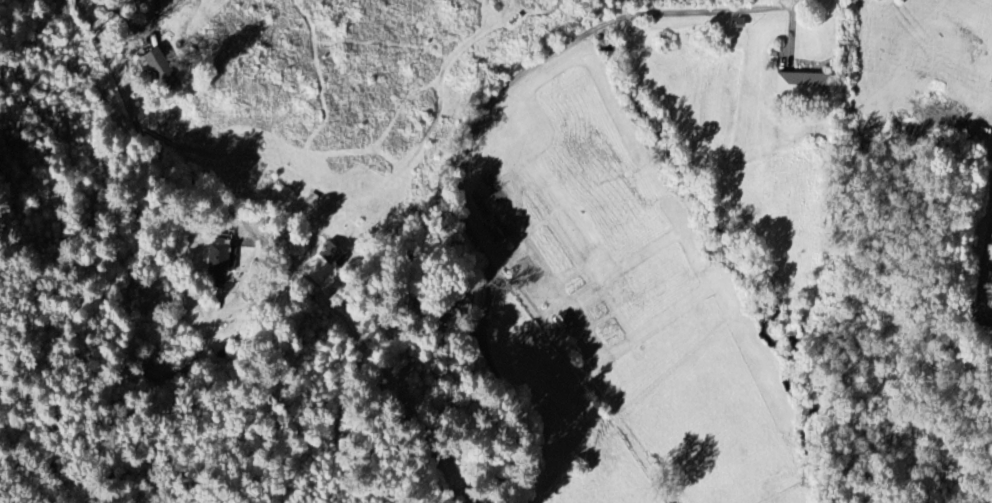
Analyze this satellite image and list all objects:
building: (163, 70)
building: (804, 85)
road: (132, 122)
road: (473, 134)
building: (331, 253)
road: (987, 259)
building: (217, 264)
road: (581, 340)

